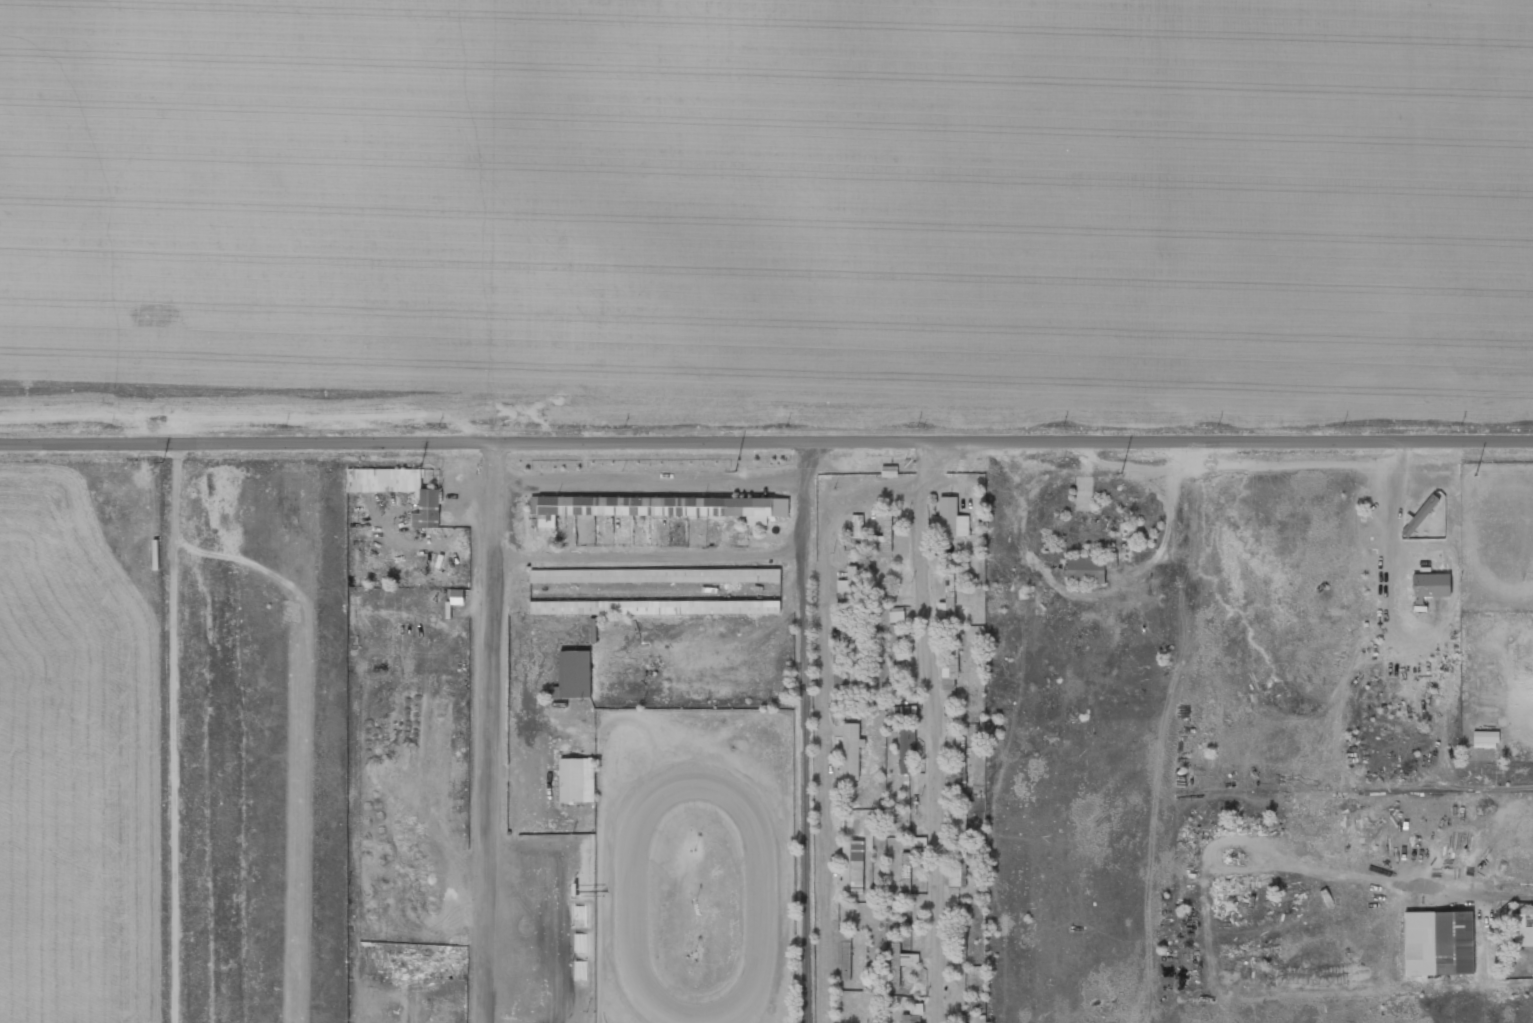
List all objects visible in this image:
road: (766, 439)
power tower: (155, 463)
power tower: (375, 467)
building: (889, 471)
power tower: (742, 473)
power tower: (1116, 475)
power tower: (1471, 477)
building: (398, 490)
building: (657, 507)
building: (1421, 514)
building: (951, 518)
building: (857, 522)
building: (883, 534)
building: (1086, 569)
building: (655, 575)
building: (1430, 586)
building: (848, 588)
building: (654, 607)
building: (946, 611)
building: (896, 615)
building: (894, 660)
building: (950, 662)
building: (848, 669)
building: (574, 674)
road: (821, 730)
road: (934, 730)
building: (1485, 739)
building: (906, 744)
building: (851, 751)
building: (956, 767)
building: (577, 779)
building: (910, 862)
building: (852, 867)
building: (958, 871)
building: (1523, 930)
building: (580, 943)
building: (1438, 943)
building: (844, 953)
building: (900, 962)
building: (580, 970)
building: (912, 1014)

